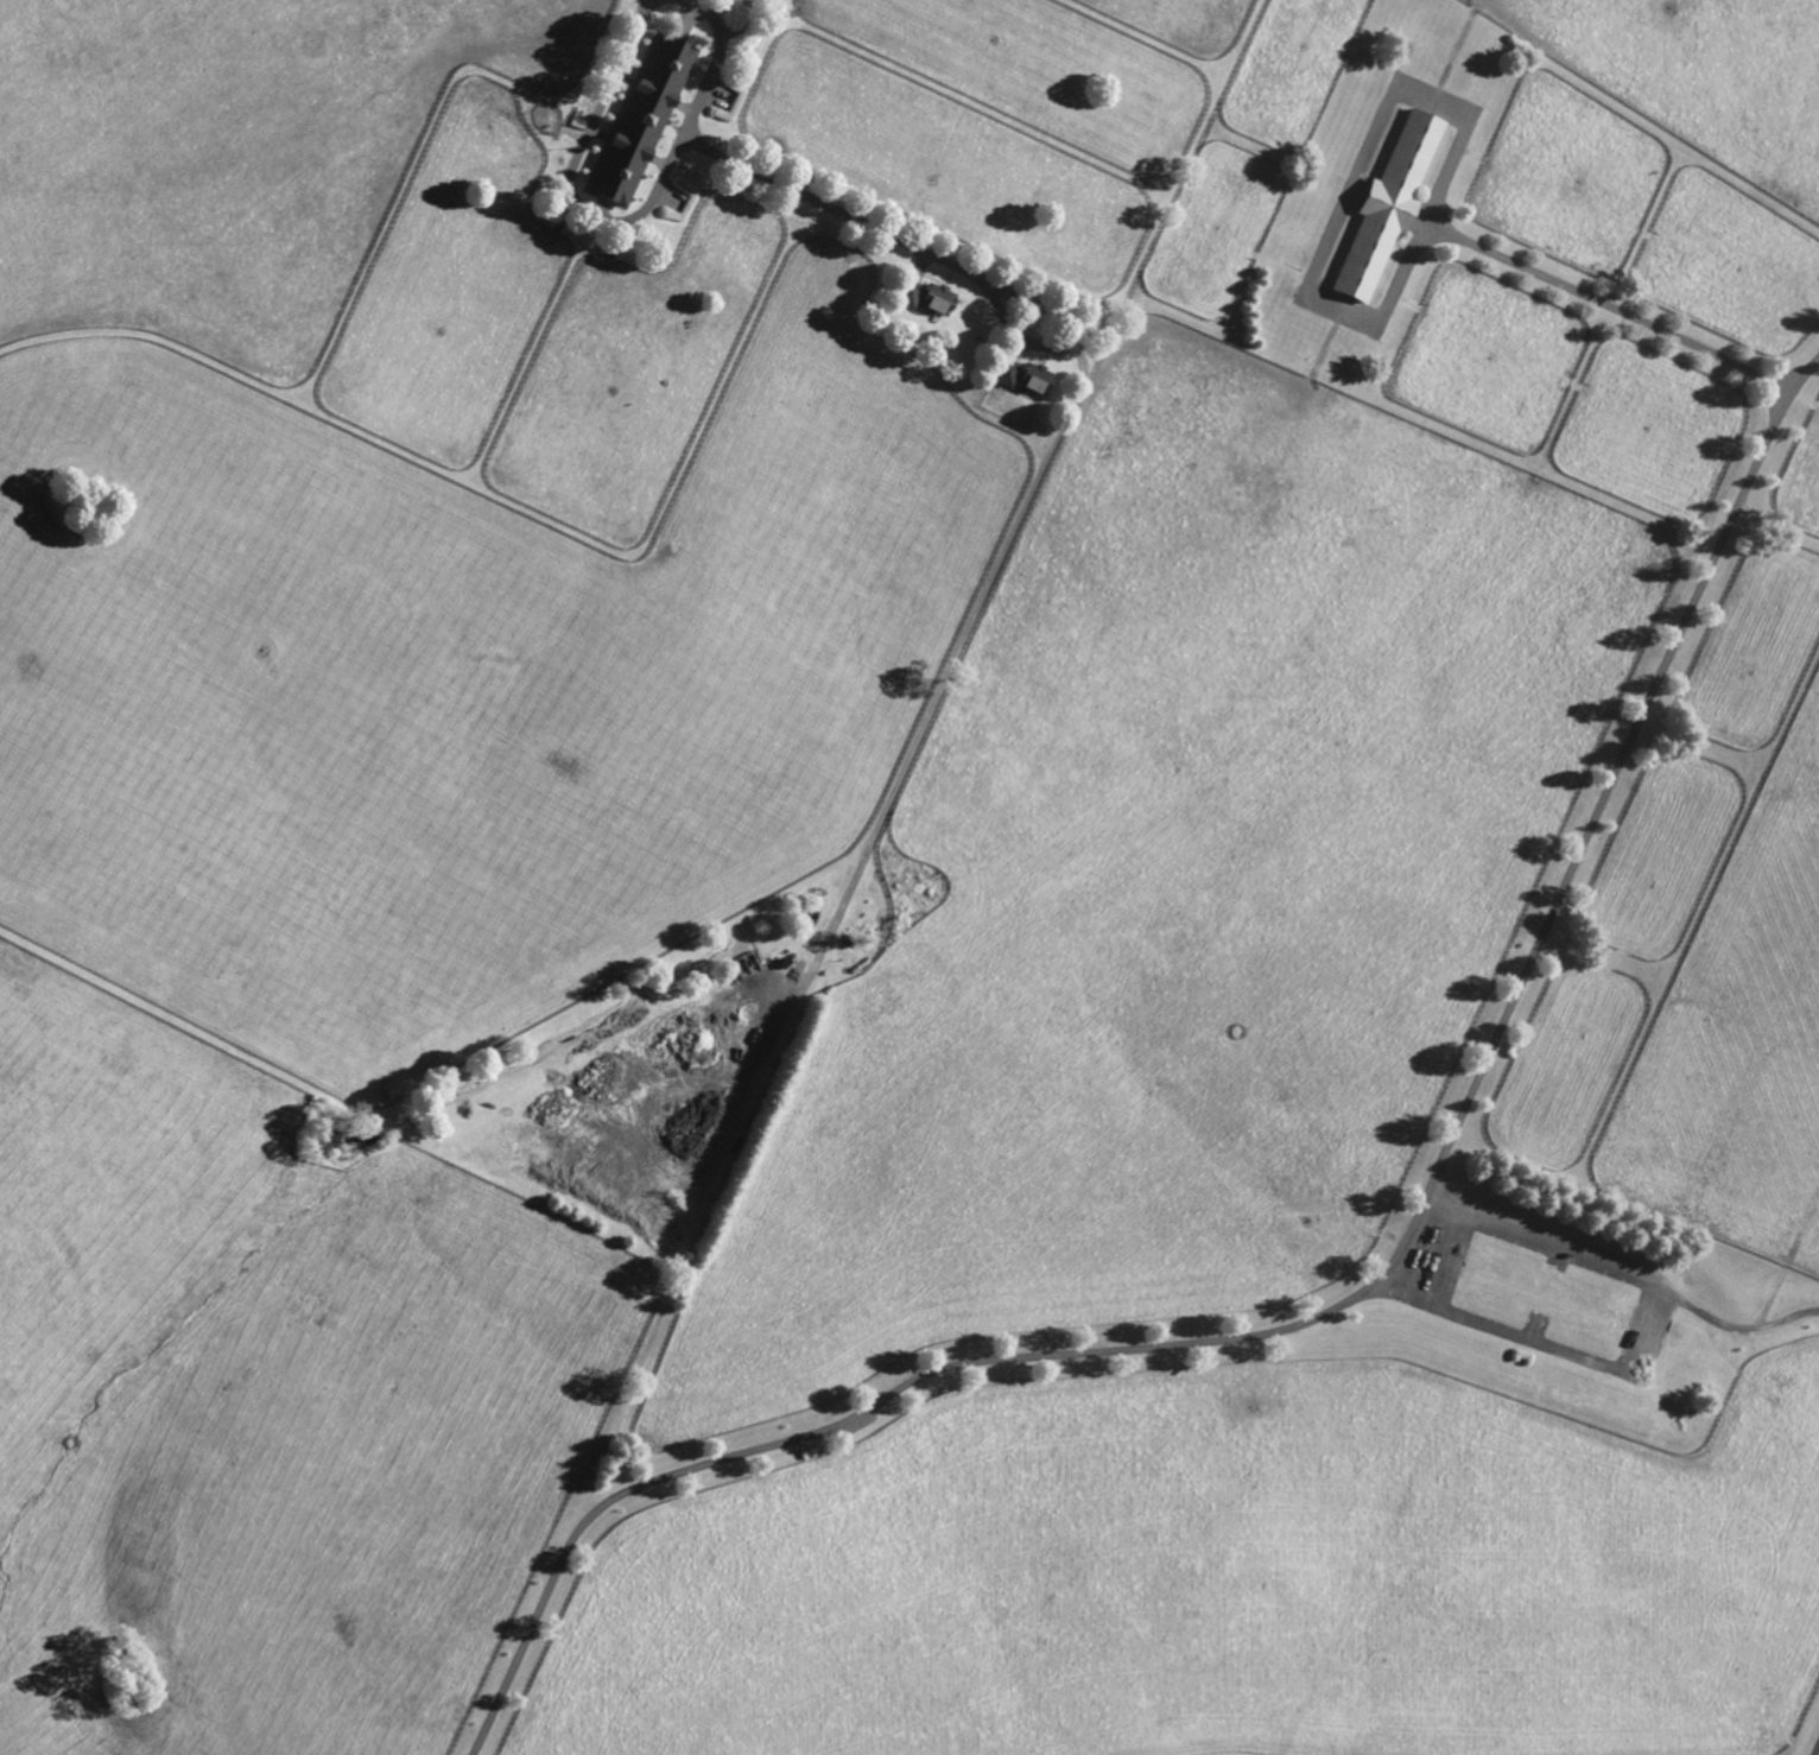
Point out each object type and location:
building: (641, 116)
building: (1388, 205)
road: (620, 218)
building: (925, 294)
road: (1383, 313)
building: (1023, 374)
road: (1038, 484)
road: (1431, 1248)
road: (1627, 1267)
road: (1346, 1304)
road: (1544, 1343)
road: (1817, 1751)

